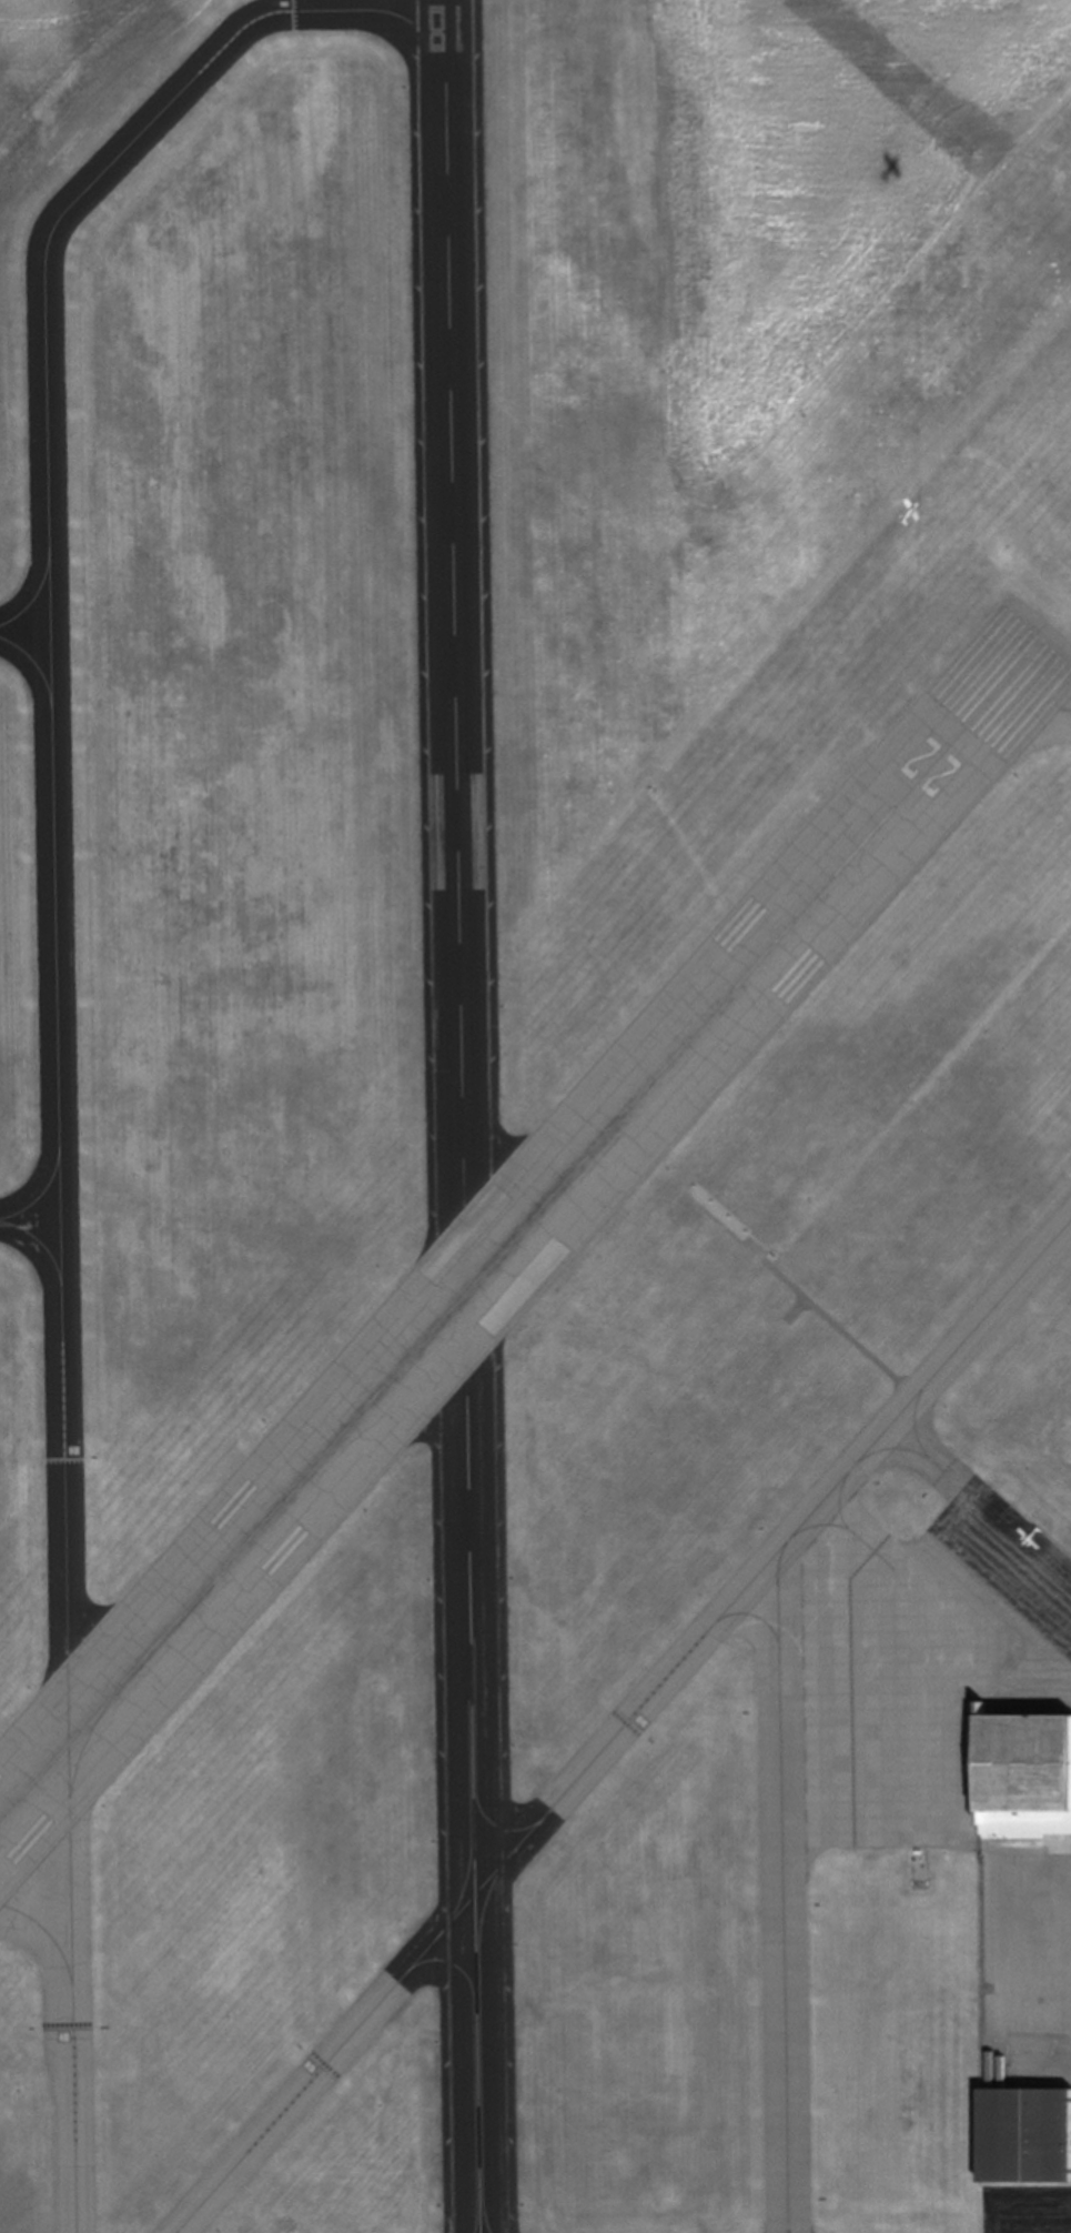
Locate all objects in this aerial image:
airport taxiway: (363, 9)
airport taxiway: (33, 596)
airport taxiway: (34, 662)
airport taxiway: (1027, 705)
airport taxiway: (57, 1073)
airport runway: (461, 1116)
airport: (535, 1116)
airport taxiway: (40, 1194)
airport runway: (528, 1225)
airport taxiway: (39, 1240)
airport taxiway: (912, 1421)
airport taxiway: (900, 1447)
airport taxiway: (751, 1615)
airport apron: (921, 1662)
airport taxiway: (622, 1723)
airport hangar: (1025, 1781)
building: (1025, 1781)
airport taxiway: (780, 1884)
airport hangar: (1022, 2135)
building: (1022, 2135)
airport apron: (1023, 2207)
airport taxiway: (176, 2231)

